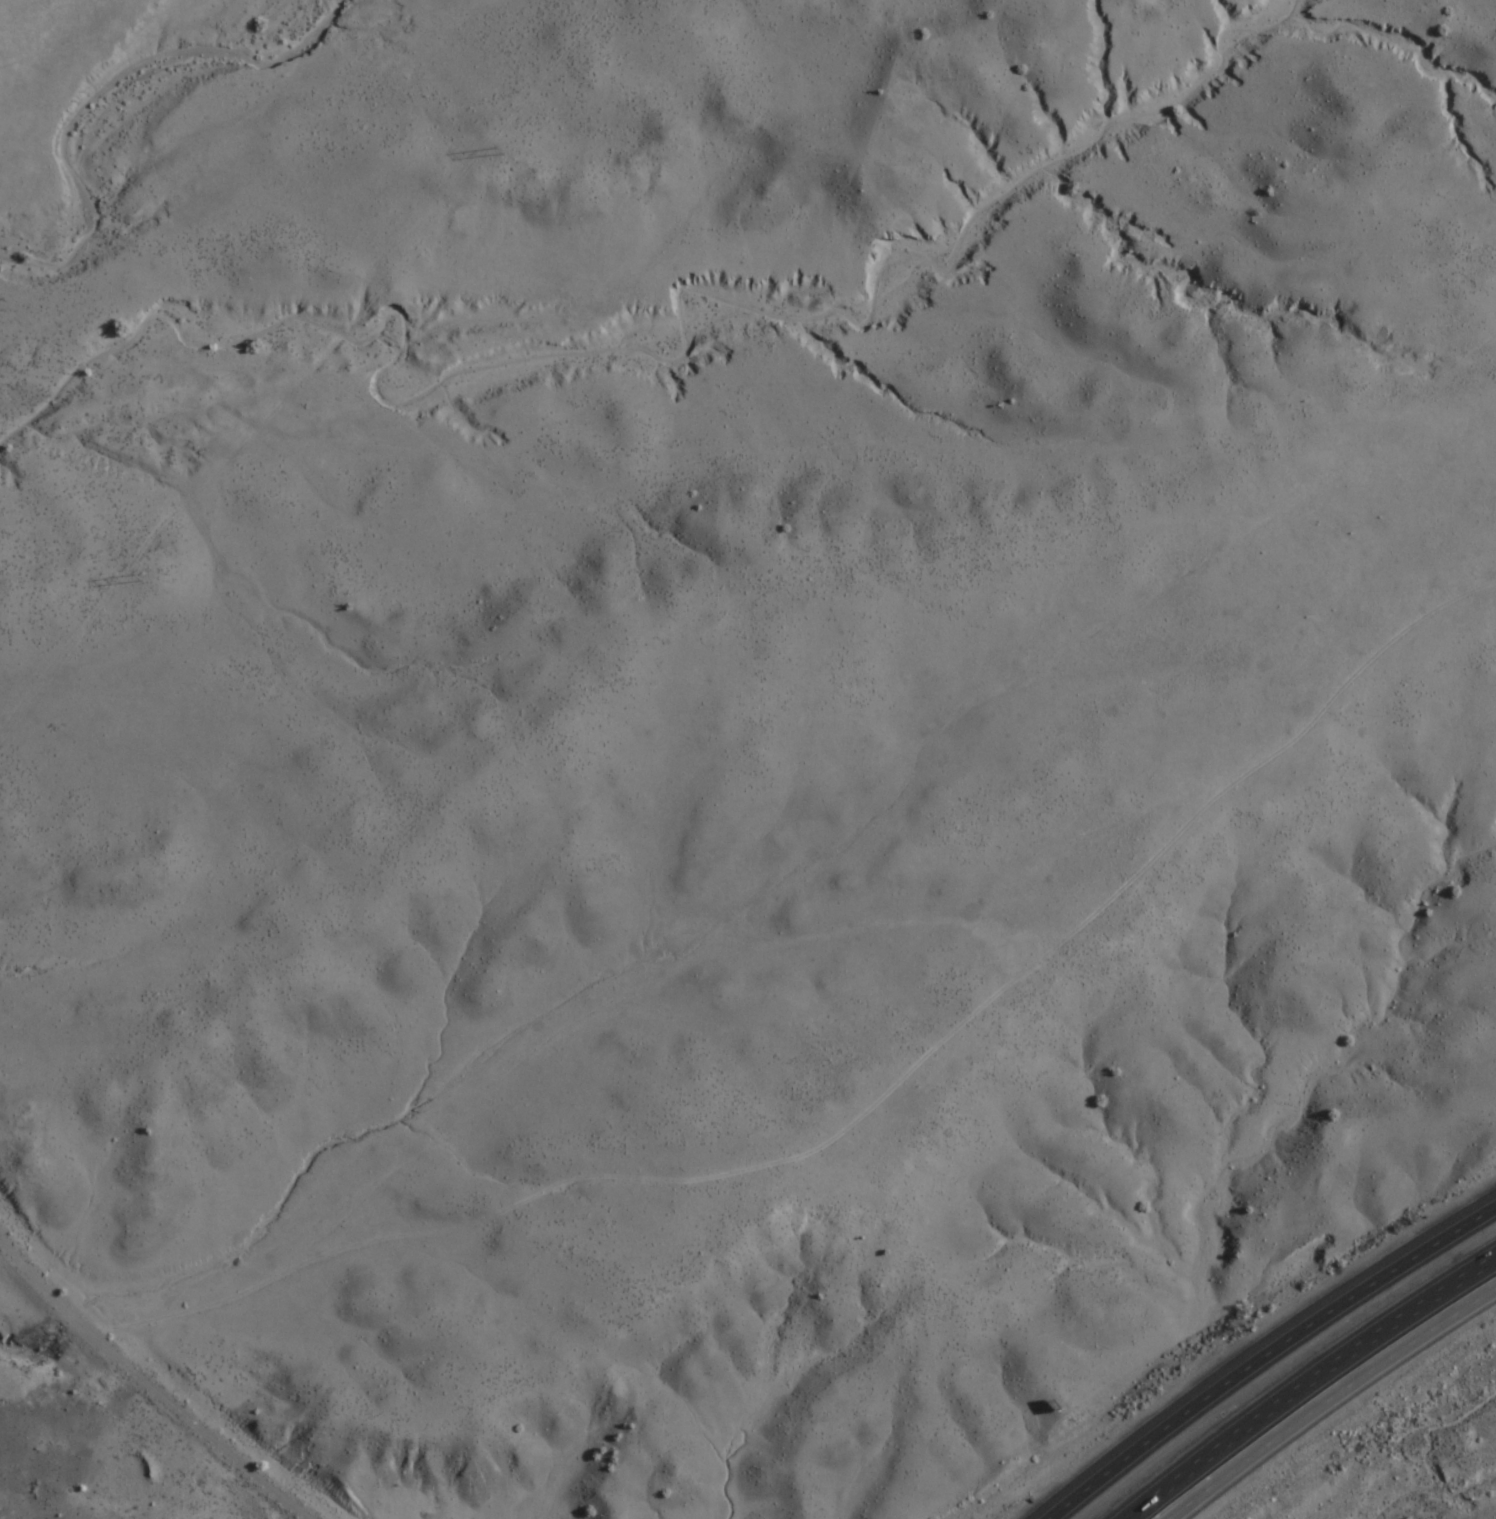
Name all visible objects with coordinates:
road: (1277, 1362)
road: (152, 1383)
road: (1316, 1389)
road: (1330, 1399)

